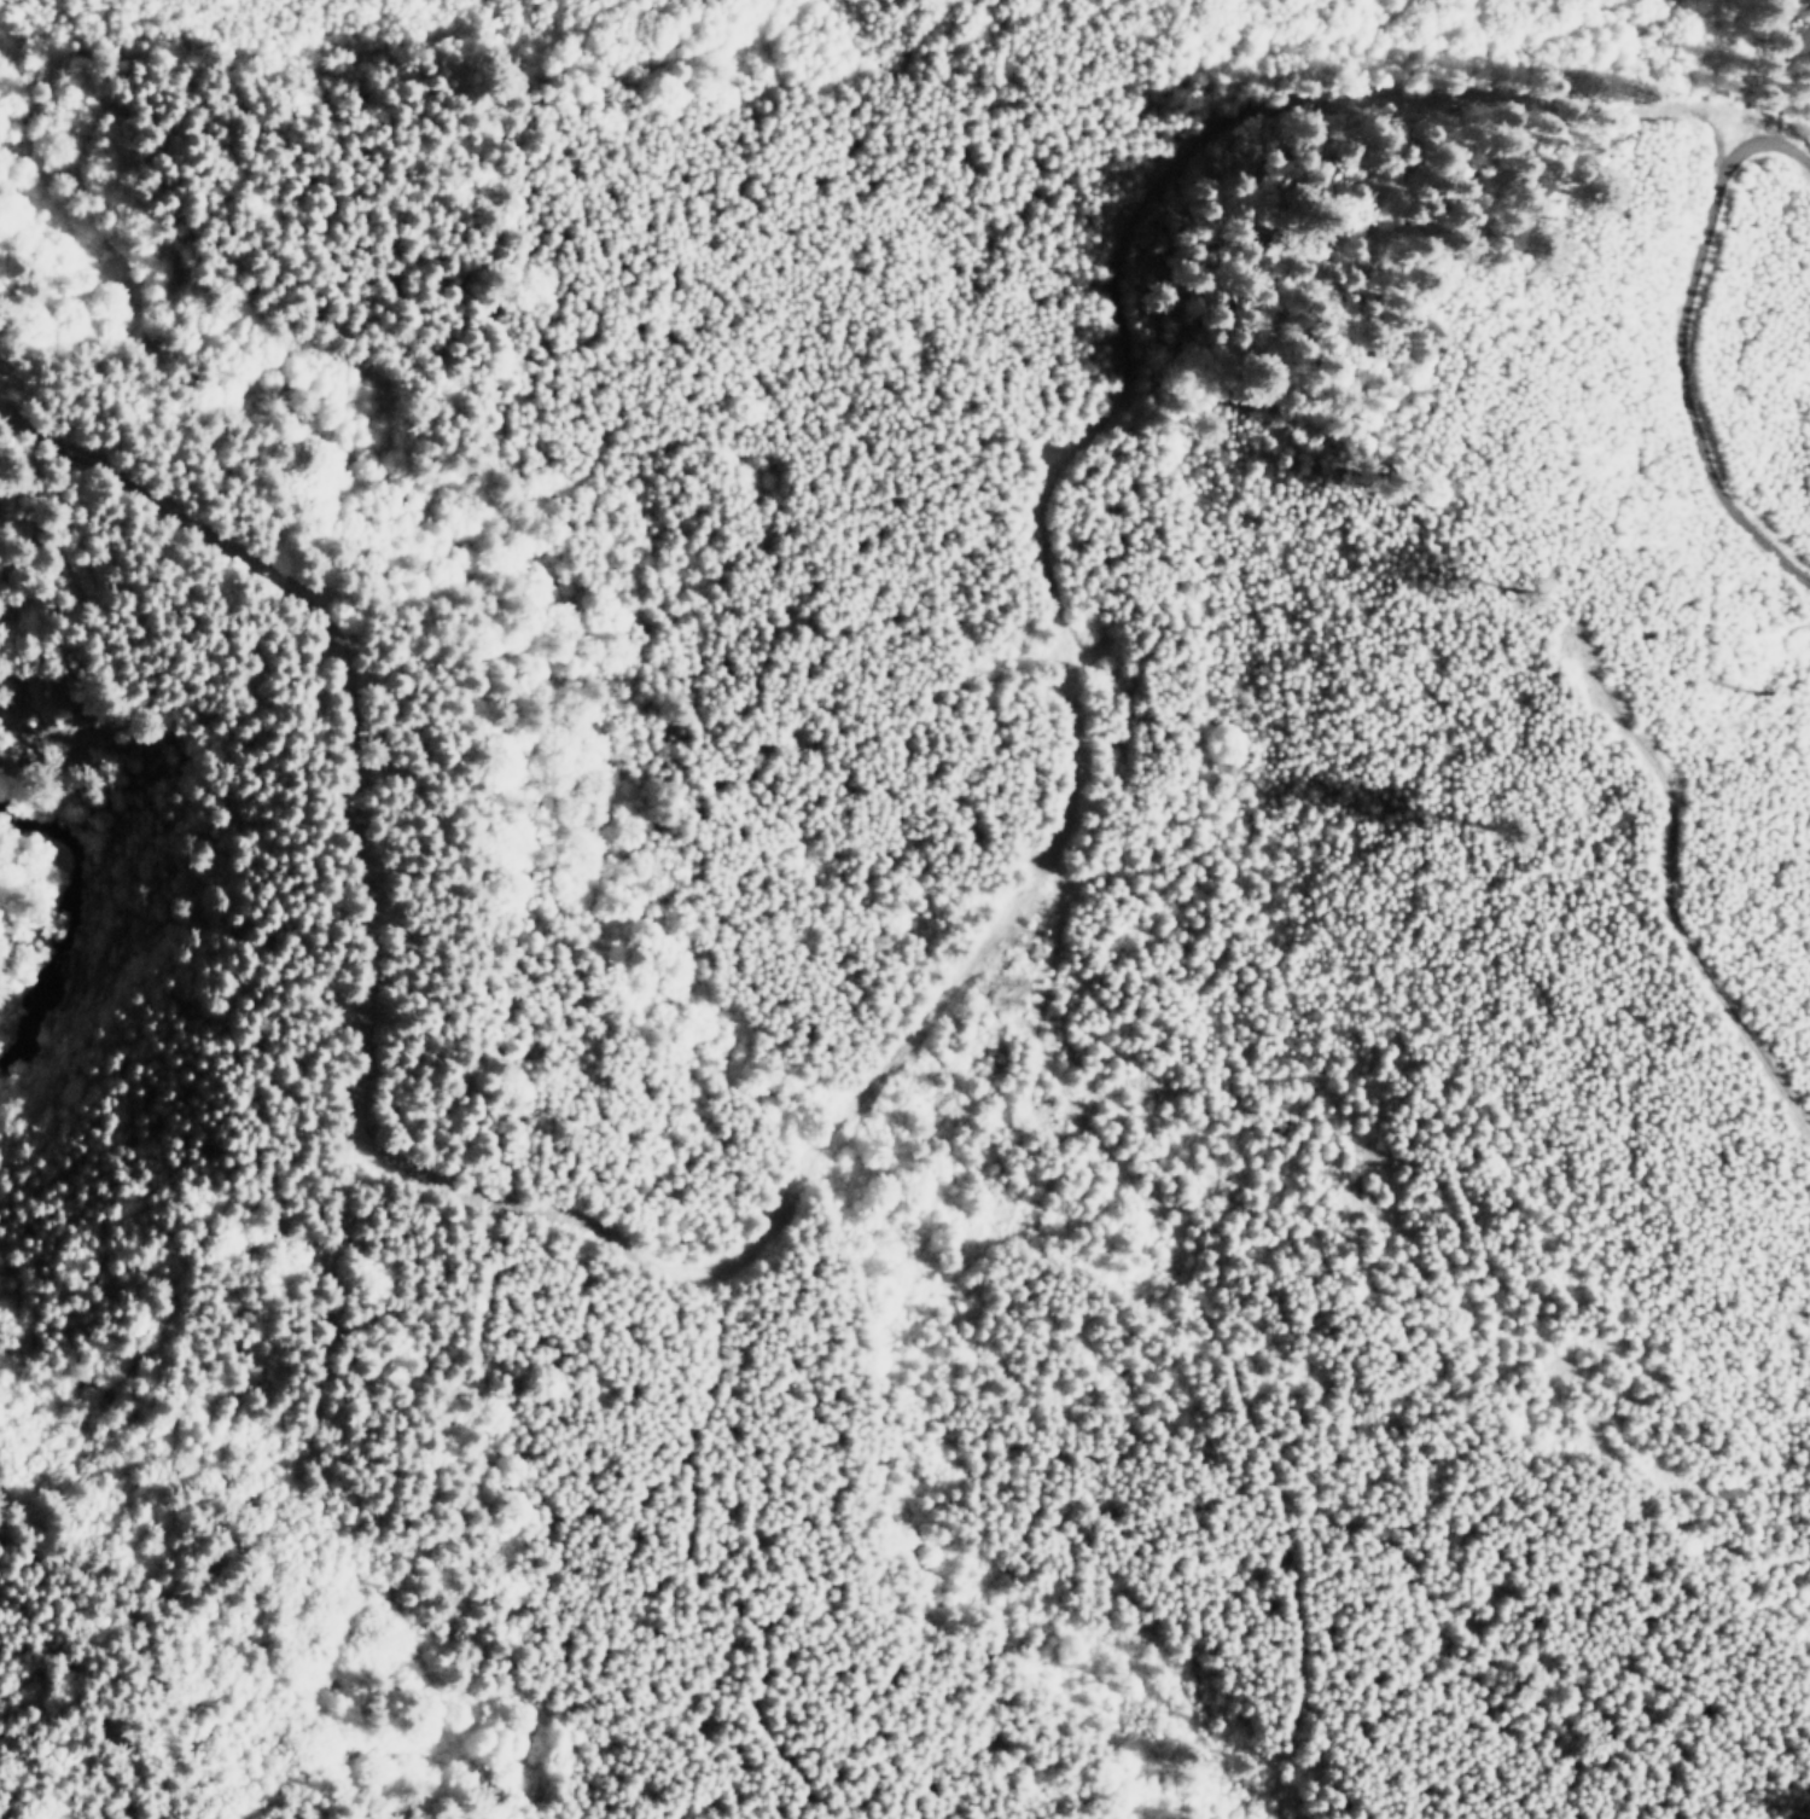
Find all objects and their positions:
road: (1687, 318)
river: (105, 865)
road: (1030, 890)
road: (1188, 1372)
road: (737, 1460)
road: (330, 1483)

